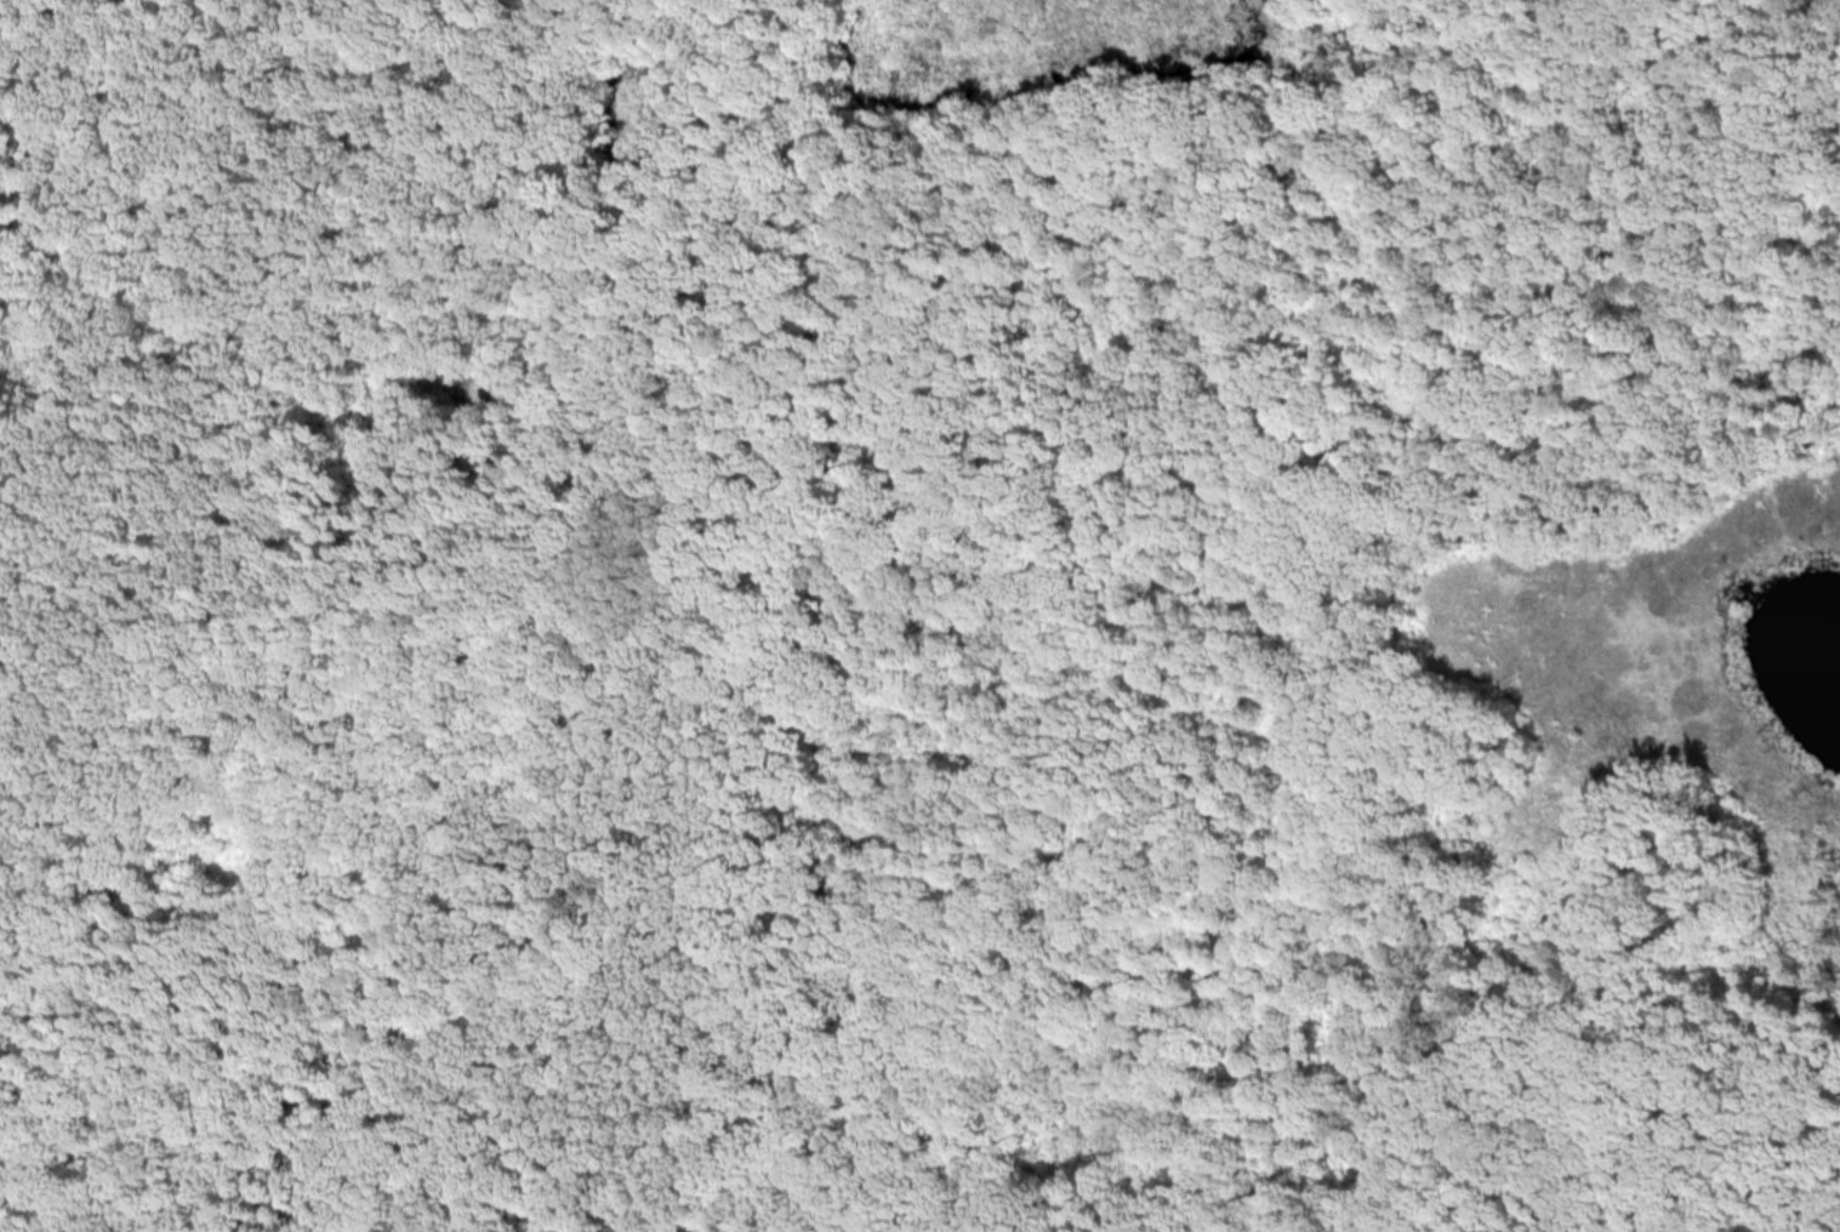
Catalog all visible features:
park: (919, 616)

